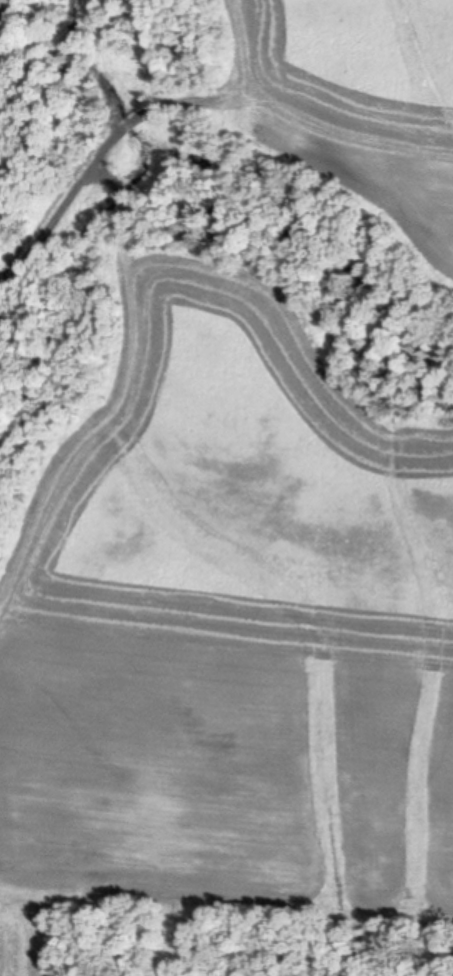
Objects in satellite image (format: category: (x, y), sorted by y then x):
crop: (4, 25)
crop: (353, 104)

